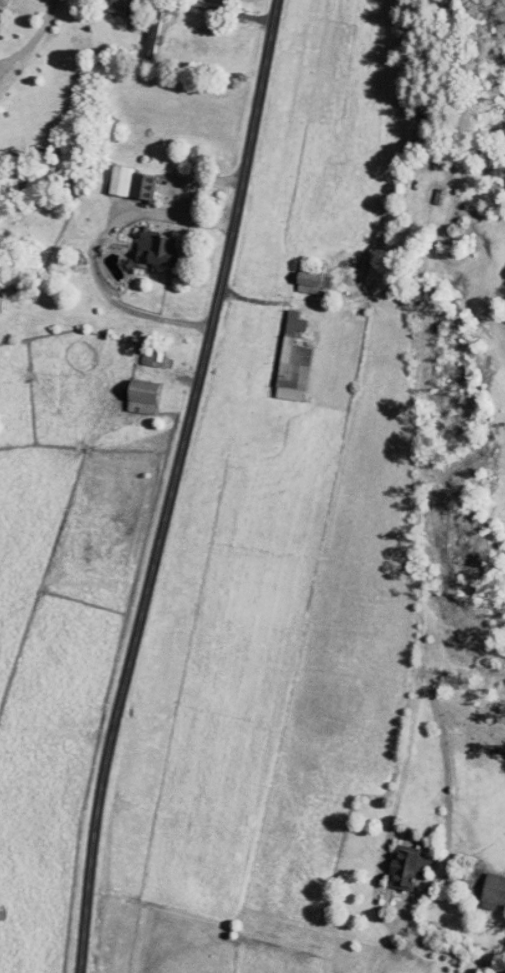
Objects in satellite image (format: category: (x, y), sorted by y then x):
building: (104, 3)
road: (220, 10)
building: (139, 27)
road: (35, 36)
road: (2, 61)
road: (2, 65)
building: (118, 176)
building: (143, 241)
building: (295, 275)
road: (417, 327)
building: (138, 350)
building: (279, 354)
building: (129, 390)
airport runway: (225, 397)
road: (171, 485)
building: (392, 861)
building: (486, 884)
road: (396, 920)
road: (436, 946)

